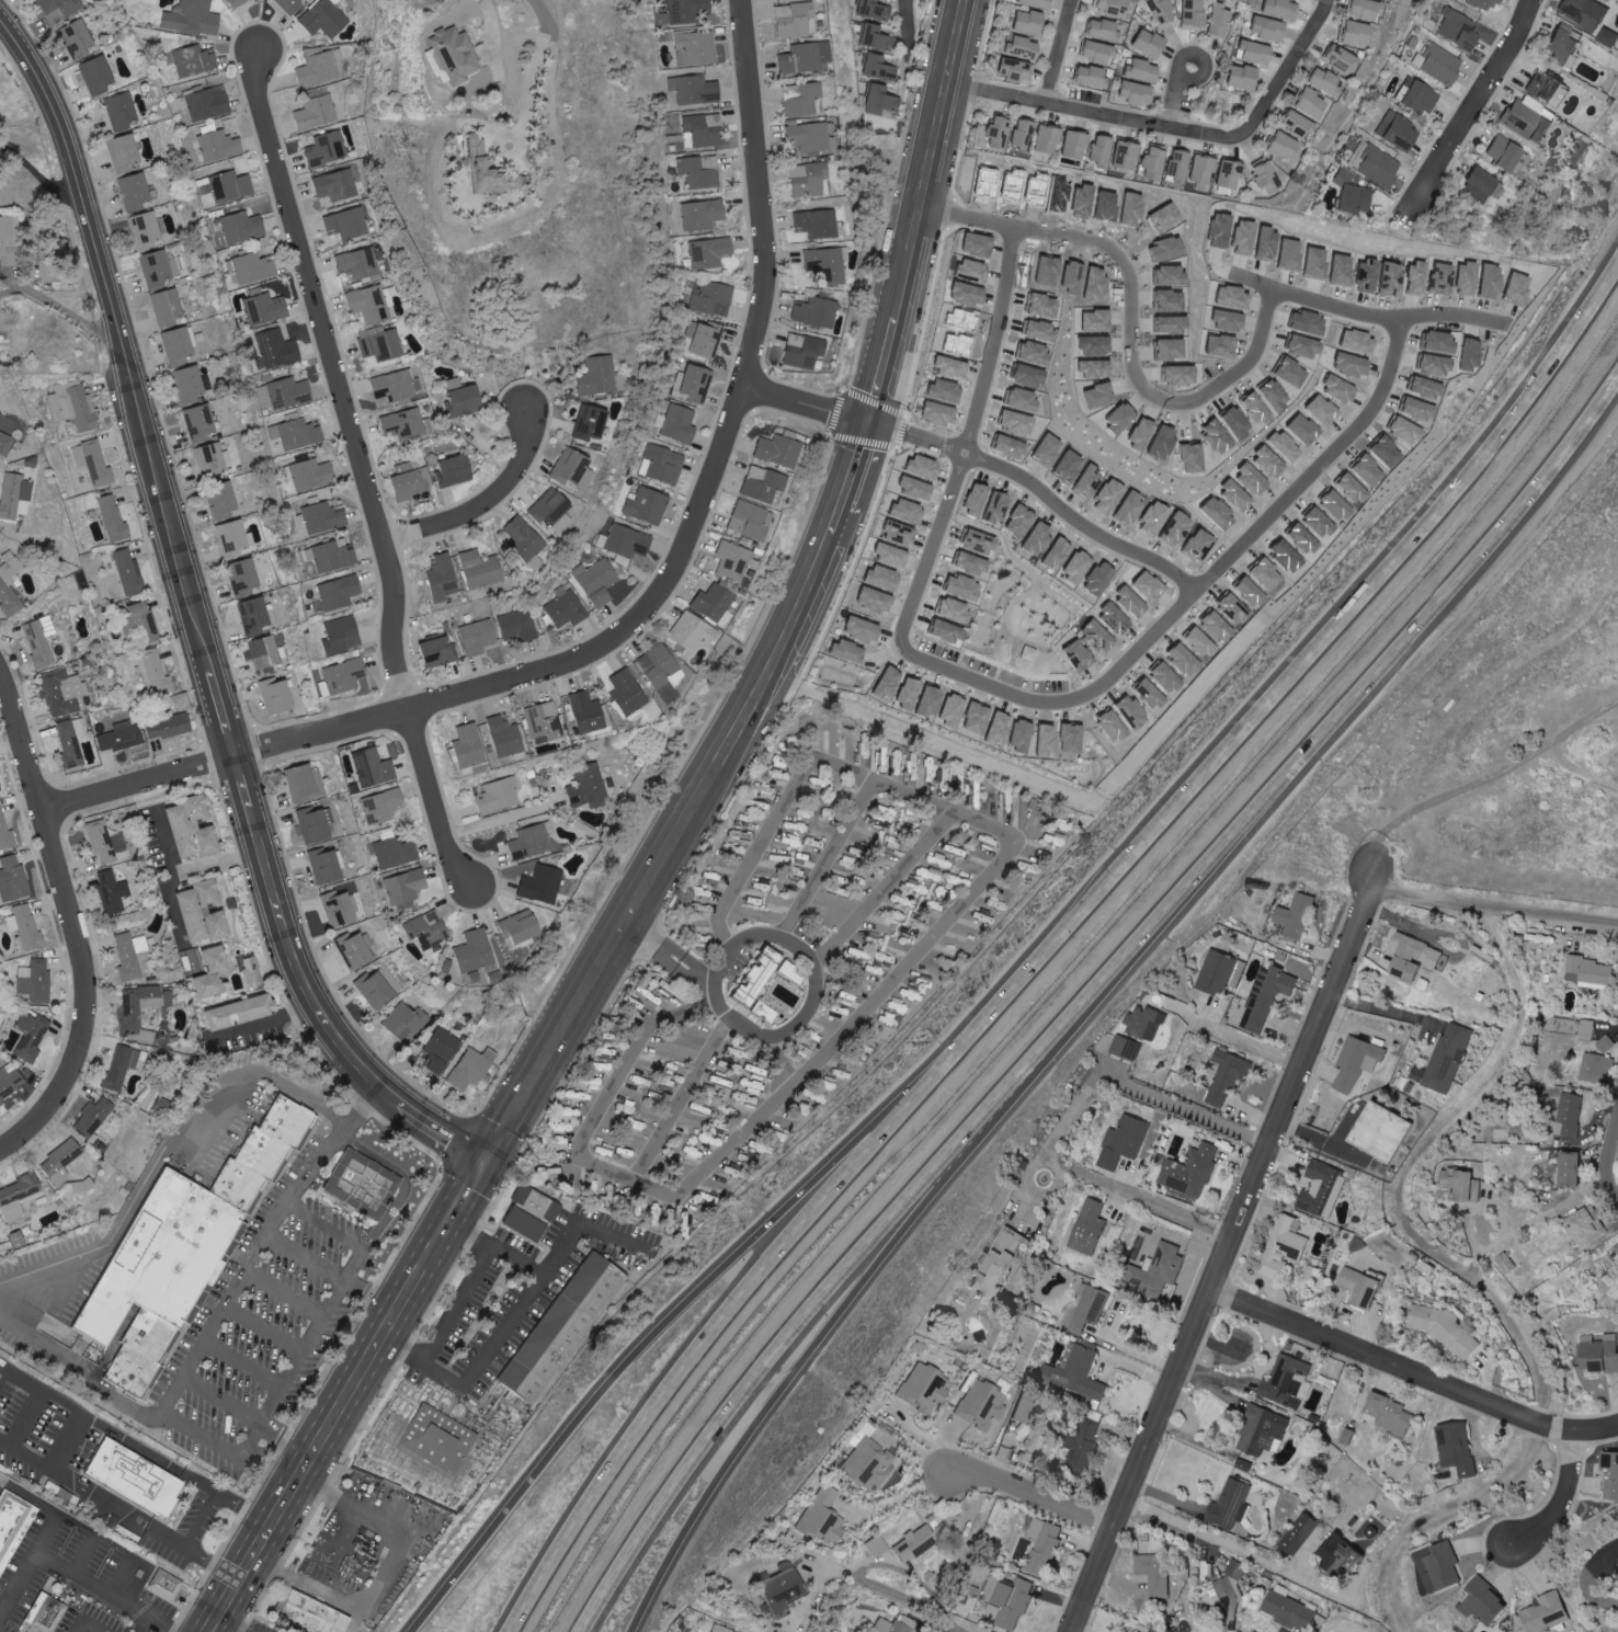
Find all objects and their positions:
building: (1381, 0)
building: (239, 2)
building: (1030, 3)
building: (292, 4)
building: (1480, 4)
building: (1107, 7)
building: (61, 9)
building: (1276, 9)
building: (1360, 9)
building: (874, 10)
building: (686, 12)
building: (1582, 12)
building: (1156, 13)
building: (1190, 14)
road: (907, 16)
building: (194, 19)
building: (327, 19)
building: (796, 20)
building: (1218, 22)
building: (1019, 23)
road: (490, 25)
building: (1264, 30)
building: (1455, 30)
building: (1098, 31)
building: (1351, 34)
building: (877, 37)
building: (1607, 38)
building: (1142, 44)
building: (1561, 45)
building: (1015, 47)
building: (697, 48)
building: (1093, 52)
road: (1200, 53)
building: (1249, 53)
road: (1058, 54)
building: (457, 55)
building: (805, 57)
building: (1336, 59)
building: (194, 61)
road: (535, 62)
building: (320, 67)
building: (881, 67)
road: (1284, 69)
building: (1006, 70)
building: (1136, 71)
building: (98, 75)
building: (1085, 77)
building: (1233, 78)
building: (1320, 81)
building: (1540, 87)
building: (696, 90)
building: (1129, 93)
building: (1416, 99)
building: (802, 100)
building: (881, 100)
road: (1174, 101)
building: (1306, 103)
building: (208, 104)
building: (122, 111)
building: (318, 113)
road: (1091, 115)
road: (1469, 117)
building: (1526, 119)
building: (1292, 125)
building: (706, 129)
building: (1392, 132)
building: (991, 134)
building: (1014, 136)
building: (812, 137)
building: (1039, 139)
building: (1067, 145)
building: (219, 146)
building: (1278, 147)
building: (328, 148)
road: (502, 151)
building: (125, 153)
building: (1093, 153)
building: (1501, 153)
building: (1118, 156)
building: (1147, 164)
building: (1374, 166)
building: (1172, 167)
building: (490, 170)
building: (1196, 170)
building: (703, 172)
building: (1224, 174)
road: (37, 175)
building: (1262, 178)
building: (810, 179)
building: (338, 185)
building: (1030, 185)
building: (1474, 185)
building: (227, 186)
building: (136, 192)
building: (1348, 194)
building: (1036, 199)
building: (704, 215)
building: (347, 224)
building: (820, 224)
building: (146, 228)
building: (242, 228)
building: (9, 241)
building: (710, 252)
building: (361, 263)
building: (829, 263)
building: (159, 267)
building: (251, 269)
building: (969, 273)
road: (1250, 284)
road: (9, 288)
building: (713, 299)
road: (57, 304)
building: (372, 305)
building: (169, 307)
building: (265, 308)
building: (816, 312)
building: (1302, 320)
building: (706, 341)
building: (1356, 342)
building: (1438, 343)
building: (180, 344)
building: (383, 345)
building: (276, 349)
road: (990, 349)
building: (804, 351)
building: (944, 368)
building: (601, 377)
building: (694, 383)
building: (191, 384)
building: (398, 386)
building: (1338, 390)
building: (935, 391)
building: (289, 393)
building: (467, 398)
road: (1171, 399)
building: (75, 406)
road: (806, 407)
building: (1321, 412)
building: (931, 414)
building: (0, 423)
building: (202, 423)
building: (590, 423)
building: (407, 424)
building: (681, 424)
building: (1302, 431)
building: (297, 433)
building: (5, 444)
building: (1284, 447)
building: (783, 449)
building: (1385, 453)
building: (212, 460)
building: (95, 463)
building: (1268, 464)
building: (665, 465)
building: (572, 468)
building: (456, 471)
road: (366, 472)
building: (312, 476)
building: (1252, 480)
building: (410, 483)
building: (764, 486)
building: (1351, 490)
building: (14, 494)
building: (1235, 497)
road: (1026, 501)
road: (489, 502)
building: (225, 504)
building: (648, 505)
building: (551, 510)
building: (1218, 515)
building: (323, 517)
building: (114, 520)
building: (750, 521)
building: (235, 538)
building: (524, 538)
building: (628, 544)
building: (334, 557)
building: (733, 561)
building: (481, 570)
building: (130, 572)
building: (246, 577)
building: (443, 578)
building: (599, 582)
building: (341, 593)
building: (715, 604)
building: (567, 612)
road: (646, 612)
road: (194, 615)
building: (258, 615)
building: (144, 623)
building: (519, 626)
building: (693, 630)
building: (343, 636)
building: (479, 638)
building: (41, 641)
road: (1304, 648)
building: (440, 651)
building: (266, 653)
road: (1117, 664)
building: (662, 672)
building: (156, 673)
building: (345, 676)
building: (62, 692)
building: (628, 692)
building: (277, 697)
building: (586, 711)
road: (1333, 716)
building: (545, 720)
building: (169, 727)
building: (830, 731)
building: (506, 735)
building: (122, 737)
building: (72, 740)
building: (469, 747)
building: (374, 767)
building: (304, 781)
road: (1479, 783)
building: (828, 784)
building: (0, 786)
building: (589, 788)
building: (500, 795)
building: (760, 802)
building: (384, 806)
building: (1021, 806)
building: (201, 807)
building: (806, 813)
road: (508, 815)
building: (315, 824)
building: (1066, 824)
building: (797, 825)
building: (5, 832)
building: (193, 833)
building: (869, 837)
building: (533, 840)
building: (787, 841)
building: (106, 843)
road: (167, 843)
building: (812, 843)
building: (952, 847)
road: (664, 849)
building: (857, 849)
building: (395, 853)
building: (983, 854)
building: (778, 855)
building: (802, 857)
road: (827, 858)
road: (223, 860)
building: (939, 860)
building: (851, 865)
building: (327, 866)
building: (771, 870)
building: (931, 874)
building: (798, 875)
building: (13, 879)
building: (961, 879)
building: (839, 882)
building: (858, 882)
building: (543, 883)
building: (406, 886)
building: (761, 886)
building: (784, 886)
road: (882, 886)
building: (112, 891)
building: (905, 900)
building: (931, 905)
road: (172, 906)
building: (340, 909)
road: (1493, 909)
building: (205, 911)
building: (697, 915)
building: (1299, 915)
road: (77, 924)
building: (520, 926)
building: (26, 927)
building: (428, 928)
building: (355, 950)
road: (665, 954)
building: (861, 954)
building: (132, 955)
building: (1417, 956)
building: (476, 957)
building: (935, 968)
building: (252, 970)
building: (215, 971)
building: (1223, 971)
building: (794, 972)
building: (1595, 972)
building: (761, 975)
building: (35, 981)
road: (886, 983)
building: (376, 990)
building: (1271, 995)
building: (141, 1005)
road: (808, 1005)
road: (1389, 1008)
building: (244, 1011)
building: (767, 1012)
building: (407, 1022)
road: (262, 1023)
building: (1151, 1023)
building: (1589, 1029)
road: (1232, 1035)
building: (31, 1036)
building: (1609, 1043)
building: (1130, 1047)
building: (664, 1048)
building: (440, 1050)
building: (1451, 1057)
road: (775, 1061)
building: (1360, 1061)
building: (122, 1065)
building: (601, 1065)
building: (729, 1065)
building: (650, 1066)
building: (472, 1068)
building: (1597, 1069)
building: (762, 1071)
building: (1422, 1073)
building: (1230, 1075)
building: (642, 1079)
building: (595, 1081)
building: (10, 1083)
building: (754, 1087)
building: (634, 1092)
road: (680, 1099)
building: (747, 1099)
road: (1185, 1105)
building: (293, 1108)
road: (1072, 1114)
building: (1572, 1115)
building: (94, 1118)
building: (285, 1120)
building: (694, 1126)
building: (560, 1128)
building: (639, 1130)
building: (278, 1131)
building: (1387, 1131)
building: (1130, 1135)
building: (269, 1139)
building: (709, 1139)
building: (773, 1139)
road: (164, 1149)
building: (261, 1152)
building: (627, 1154)
building: (62, 1161)
road: (1610, 1164)
building: (253, 1165)
road: (1404, 1168)
building: (737, 1171)
building: (1572, 1171)
road: (1059, 1172)
building: (1195, 1172)
building: (243, 1173)
road: (402, 1176)
building: (361, 1183)
building: (1467, 1183)
building: (236, 1184)
building: (1324, 1189)
building: (609, 1192)
building: (627, 1195)
building: (19, 1196)
building: (229, 1196)
road: (1147, 1198)
road: (1472, 1202)
building: (531, 1212)
building: (685, 1212)
building: (656, 1214)
road: (1536, 1216)
building: (1093, 1226)
building: (1589, 1226)
building: (1287, 1246)
road: (493, 1248)
building: (160, 1256)
road: (1221, 1259)
building: (1006, 1262)
building: (1509, 1263)
building: (1160, 1269)
road: (331, 1270)
building: (1365, 1286)
road: (232, 1287)
road: (285, 1289)
road: (459, 1304)
building: (1094, 1305)
road: (675, 1308)
road: (517, 1310)
road: (725, 1312)
road: (264, 1324)
building: (562, 1324)
building: (152, 1325)
building: (1444, 1328)
road: (789, 1329)
road: (820, 1334)
building: (143, 1343)
road: (1124, 1343)
road: (300, 1351)
building: (1603, 1354)
road: (1127, 1361)
road: (242, 1362)
road: (1412, 1368)
building: (129, 1371)
building: (1080, 1372)
road: (1216, 1377)
building: (1289, 1380)
road: (99, 1382)
building: (926, 1388)
road: (1226, 1392)
building: (982, 1404)
building: (1025, 1408)
building: (1392, 1413)
road: (25, 1418)
road: (76, 1426)
building: (1267, 1430)
road: (916, 1433)
road: (1190, 1435)
building: (1352, 1435)
building: (430, 1436)
building: (1085, 1442)
building: (1460, 1448)
road: (911, 1450)
building: (870, 1463)
road: (176, 1466)
building: (1614, 1471)
building: (133, 1476)
road: (1028, 1490)
road: (101, 1494)
road: (1563, 1498)
road: (891, 1502)
building: (1234, 1504)
building: (16, 1507)
road: (1431, 1510)
building: (823, 1516)
road: (167, 1531)
building: (9, 1533)
road: (46, 1533)
building: (1306, 1533)
road: (185, 1542)
building: (916, 1543)
building: (1046, 1544)
building: (877, 1545)
road: (1241, 1550)
road: (88, 1553)
building: (1346, 1556)
building: (3, 1557)
building: (1443, 1566)
building: (1239, 1567)
road: (380, 1570)
road: (907, 1570)
building: (1156, 1572)
road: (124, 1575)
road: (1586, 1576)
building: (164, 1583)
building: (784, 1588)
road: (104, 1590)
building: (1230, 1595)
building: (1012, 1599)
road: (910, 1601)
building: (1489, 1602)
building: (1292, 1609)
building: (44, 1612)
building: (314, 1612)
building: (1549, 1612)
building: (1454, 1617)
road: (88, 1621)
road: (144, 1624)
building: (897, 1624)
road: (219, 1628)
building: (721, 1630)
building: (1140, 1631)

